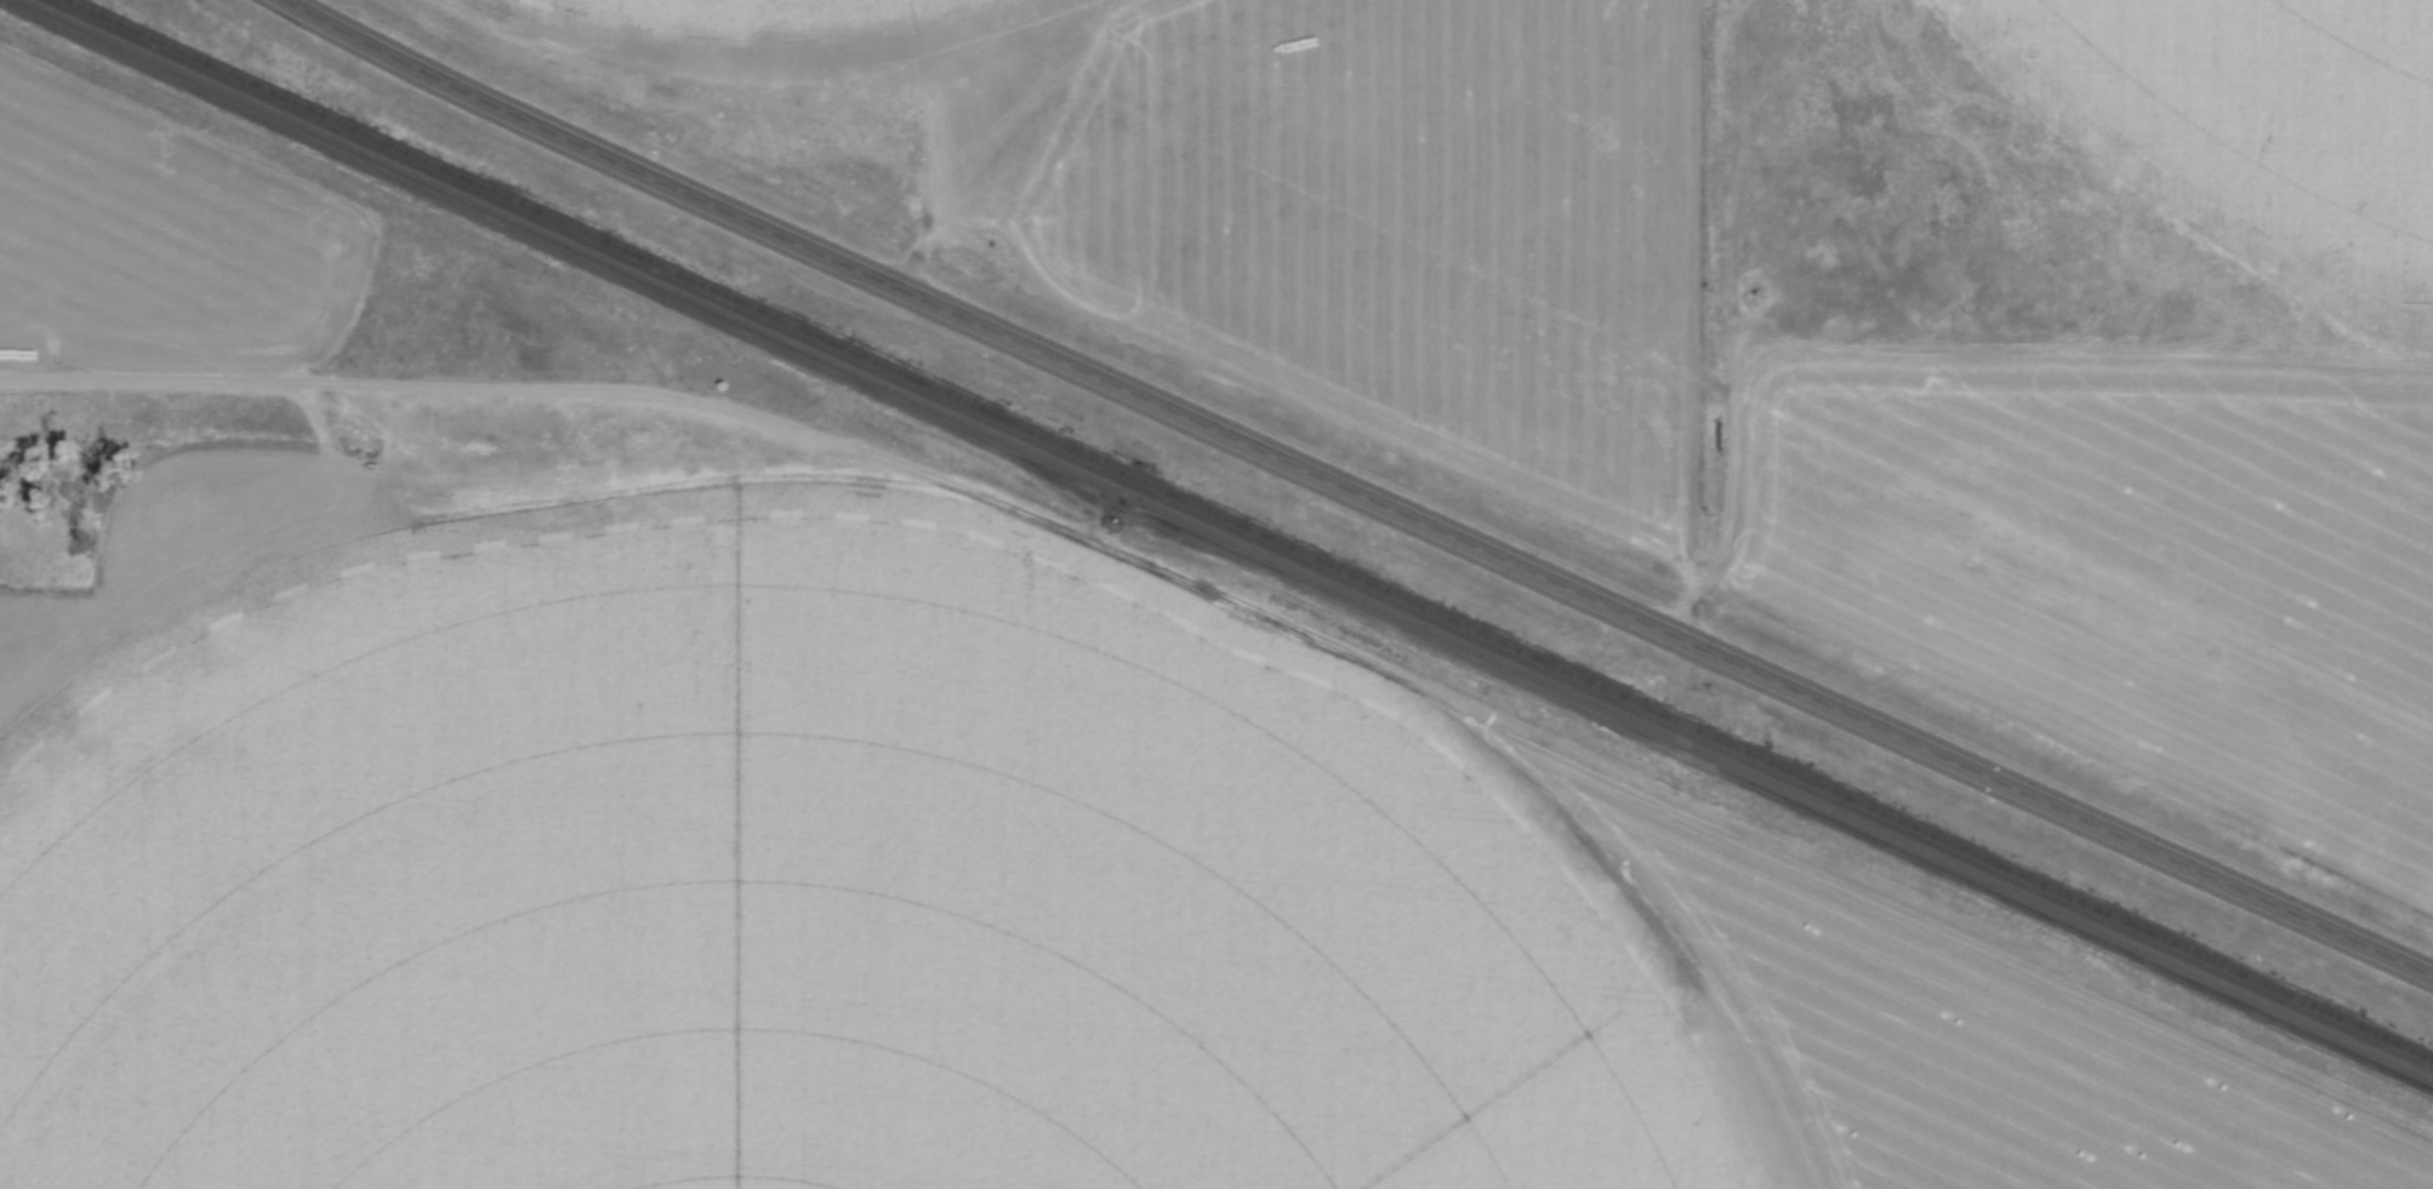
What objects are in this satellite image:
road: (338, 382)
road: (1354, 487)
railway: (1250, 526)
railway: (1231, 535)

